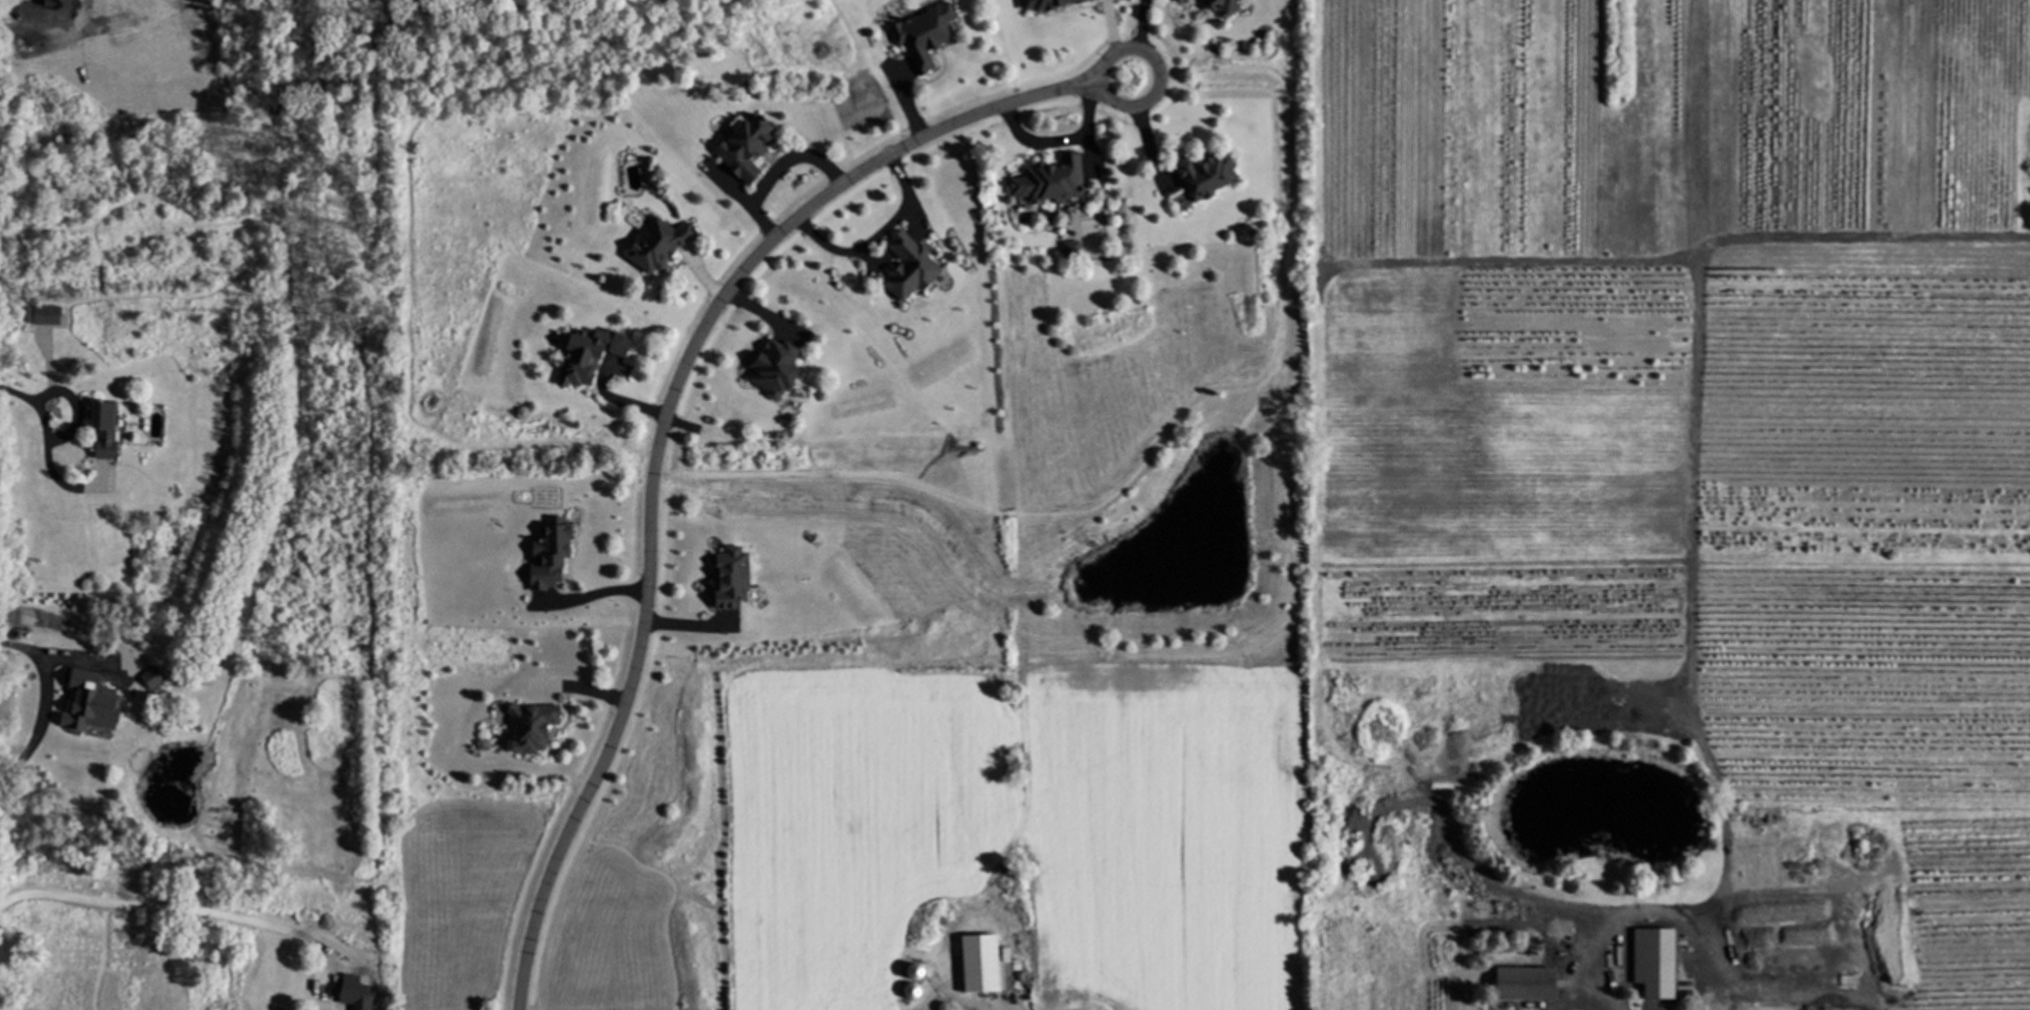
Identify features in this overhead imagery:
building: (1183, 1)
road: (9, 5)
building: (1226, 7)
building: (927, 36)
road: (1160, 84)
road: (1058, 140)
building: (748, 149)
road: (771, 170)
building: (1208, 174)
building: (1052, 183)
road: (875, 234)
building: (661, 245)
building: (1071, 252)
building: (911, 268)
building: (44, 317)
building: (590, 356)
building: (777, 370)
building: (106, 432)
road: (661, 435)
road: (47, 445)
park: (807, 499)
building: (551, 558)
building: (153, 679)
road: (46, 703)
building: (114, 705)
building: (534, 729)
road: (182, 907)
road: (1700, 950)
building: (1650, 964)
building: (992, 973)
building: (1520, 985)
road: (957, 995)
building: (362, 1002)

